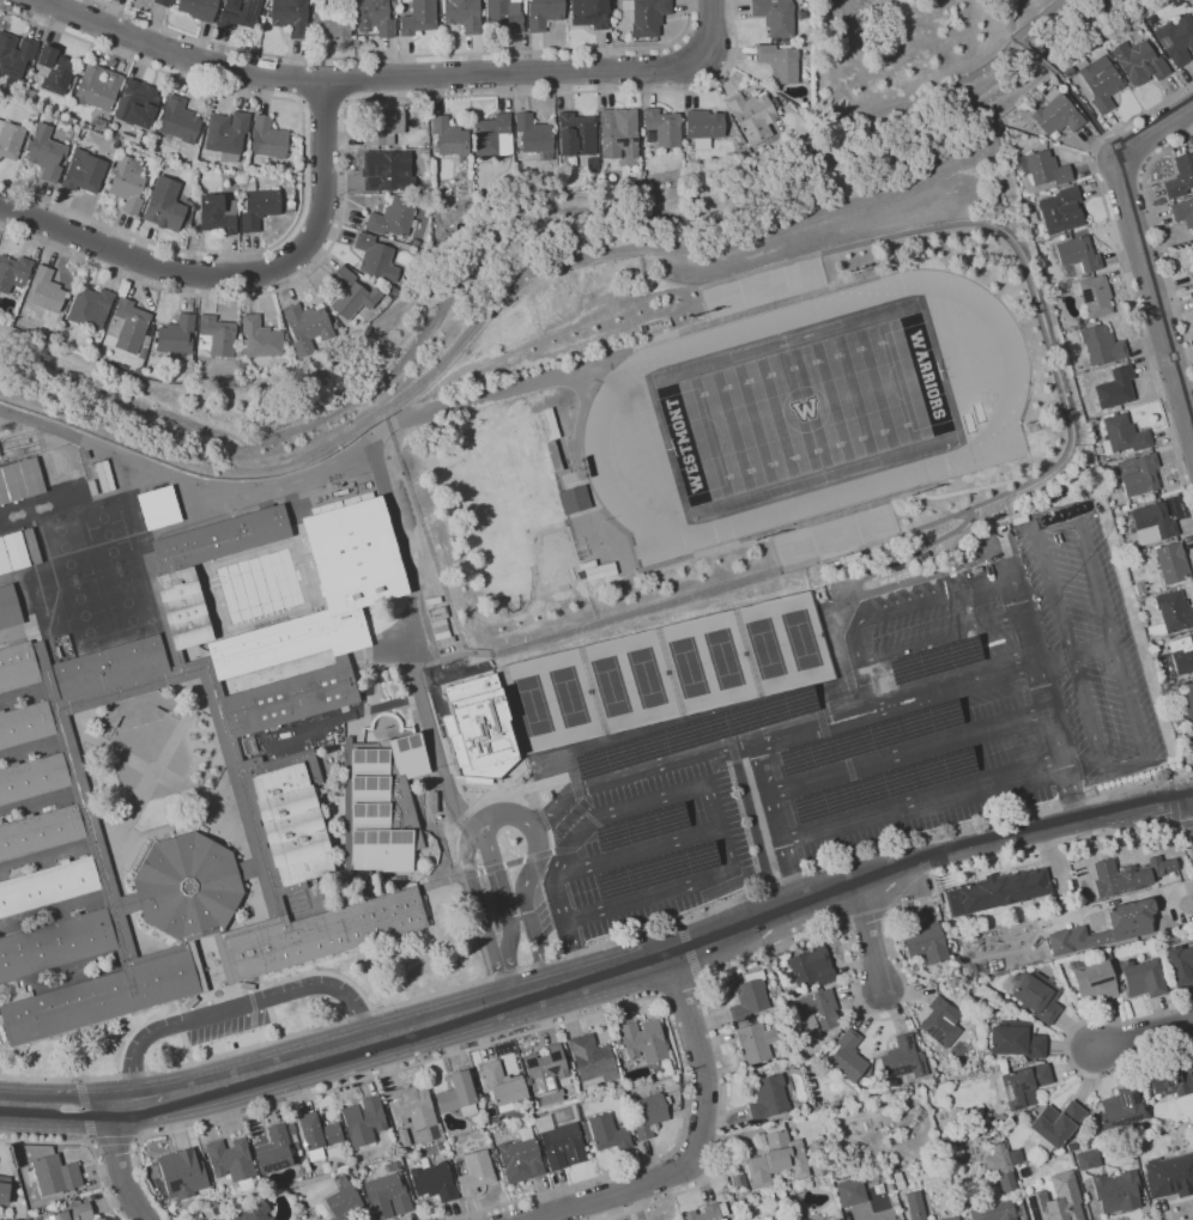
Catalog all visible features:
building: (164, 2)
building: (199, 8)
building: (394, 8)
building: (267, 13)
building: (544, 13)
building: (591, 13)
building: (465, 14)
building: (241, 16)
building: (505, 16)
building: (647, 16)
building: (776, 16)
building: (291, 17)
building: (375, 17)
building: (419, 18)
road: (1034, 23)
building: (332, 25)
road: (709, 28)
building: (1176, 40)
road: (402, 55)
building: (14, 56)
building: (780, 62)
building: (1139, 62)
road: (1044, 63)
building: (54, 71)
road: (364, 79)
building: (1100, 81)
building: (99, 86)
building: (29, 95)
road: (323, 103)
building: (138, 104)
road: (1083, 108)
building: (1056, 115)
building: (753, 116)
building: (180, 120)
road: (345, 123)
building: (383, 126)
building: (704, 127)
building: (662, 128)
building: (619, 133)
building: (228, 134)
building: (576, 134)
building: (493, 135)
building: (535, 135)
building: (132, 136)
building: (450, 138)
building: (11, 139)
building: (268, 139)
building: (125, 146)
building: (46, 153)
road: (304, 166)
building: (1046, 169)
building: (84, 171)
building: (390, 172)
building: (1181, 176)
building: (128, 186)
building: (165, 205)
building: (259, 206)
building: (241, 208)
building: (1061, 210)
building: (1183, 211)
building: (218, 213)
road: (495, 214)
building: (393, 218)
road: (1156, 233)
road: (861, 241)
building: (1077, 254)
building: (376, 257)
road: (1145, 260)
building: (865, 268)
road: (1124, 269)
building: (13, 272)
road: (236, 277)
building: (1191, 278)
building: (364, 279)
building: (395, 291)
building: (47, 293)
building: (352, 293)
building: (1095, 296)
building: (387, 299)
building: (91, 308)
building: (127, 327)
building: (307, 327)
building: (335, 327)
building: (177, 335)
building: (216, 338)
building: (260, 339)
building: (1101, 346)
building: (145, 347)
building: (1116, 388)
road: (479, 397)
park: (805, 409)
track: (1004, 419)
building: (1124, 433)
building: (555, 455)
building: (102, 477)
building: (1141, 477)
building: (19, 480)
road: (293, 481)
building: (93, 487)
road: (973, 487)
park: (502, 492)
building: (575, 499)
building: (159, 508)
road: (797, 523)
building: (1152, 523)
park: (108, 534)
road: (133, 535)
building: (220, 539)
park: (66, 546)
park: (550, 550)
building: (12, 552)
building: (355, 556)
road: (1089, 559)
building: (1170, 563)
road: (943, 571)
road: (97, 573)
road: (97, 576)
road: (710, 590)
road: (1054, 590)
park: (129, 603)
road: (904, 606)
building: (8, 607)
building: (183, 608)
road: (61, 611)
building: (1174, 612)
park: (85, 615)
building: (440, 620)
road: (14, 635)
road: (938, 638)
park: (804, 639)
building: (63, 641)
parking lot: (1086, 641)
building: (289, 642)
park: (768, 649)
road: (1094, 649)
building: (57, 650)
park: (725, 657)
building: (1183, 660)
road: (1054, 661)
building: (18, 667)
building: (110, 667)
park: (690, 668)
road: (950, 676)
park: (648, 678)
road: (146, 686)
park: (612, 687)
park: (570, 696)
road: (23, 697)
building: (292, 698)
building: (1187, 699)
park: (535, 706)
road: (1048, 711)
road: (876, 712)
building: (25, 724)
road: (690, 726)
building: (480, 727)
parking lot: (925, 727)
building: (1192, 739)
building: (249, 745)
road: (31, 751)
road: (908, 751)
road: (694, 752)
building: (296, 758)
road: (1126, 764)
road: (756, 765)
road: (152, 771)
building: (32, 778)
road: (466, 782)
road: (349, 787)
road: (690, 787)
road: (921, 796)
road: (755, 800)
building: (347, 803)
building: (384, 803)
building: (434, 803)
road: (38, 806)
road: (1067, 806)
road: (1136, 808)
road: (1171, 814)
building: (292, 824)
building: (40, 832)
road: (1074, 838)
road: (997, 840)
parking lot: (643, 843)
road: (783, 845)
road: (638, 849)
road: (46, 860)
road: (513, 862)
building: (1130, 875)
road: (526, 881)
building: (367, 885)
building: (48, 886)
building: (188, 886)
building: (995, 892)
road: (791, 902)
road: (482, 911)
road: (505, 912)
road: (54, 915)
building: (1130, 925)
road: (474, 928)
building: (316, 934)
road: (868, 937)
road: (204, 942)
building: (926, 942)
building: (56, 943)
road: (691, 954)
road: (768, 955)
building: (1180, 964)
road: (61, 966)
road: (223, 967)
building: (811, 967)
road: (202, 973)
road: (611, 975)
building: (1143, 978)
building: (1094, 979)
road: (477, 983)
road: (680, 991)
road: (235, 994)
building: (107, 995)
road: (535, 995)
building: (749, 996)
building: (1036, 996)
road: (252, 997)
road: (515, 1001)
road: (238, 1008)
building: (819, 1009)
building: (940, 1022)
road: (539, 1028)
road: (1144, 1036)
building: (1015, 1039)
building: (643, 1040)
building: (753, 1043)
road: (1066, 1051)
road: (335, 1054)
building: (848, 1056)
building: (591, 1057)
building: (902, 1060)
building: (545, 1069)
building: (1175, 1079)
building: (1023, 1085)
building: (503, 1086)
building: (459, 1095)
building: (768, 1097)
road: (133, 1104)
building: (1122, 1104)
building: (412, 1106)
road: (53, 1107)
building: (647, 1115)
building: (363, 1121)
building: (1055, 1123)
building: (317, 1131)
building: (605, 1133)
road: (86, 1134)
building: (404, 1137)
road: (86, 1140)
road: (701, 1145)
building: (563, 1146)
building: (274, 1151)
building: (520, 1158)
building: (777, 1159)
building: (1086, 1159)
building: (231, 1163)
building: (1001, 1165)
road: (120, 1169)
building: (476, 1172)
building: (182, 1173)
building: (54, 1175)
building: (1170, 1175)
building: (434, 1182)
building: (4, 1189)
building: (849, 1191)
building: (1116, 1192)
building: (386, 1196)
building: (75, 1198)
building: (1056, 1200)
building: (344, 1201)
building: (914, 1206)
building: (253, 1212)
building: (994, 1212)
building: (74, 1213)
building: (708, 1213)
building: (723, 1219)
building: (952, 1219)

